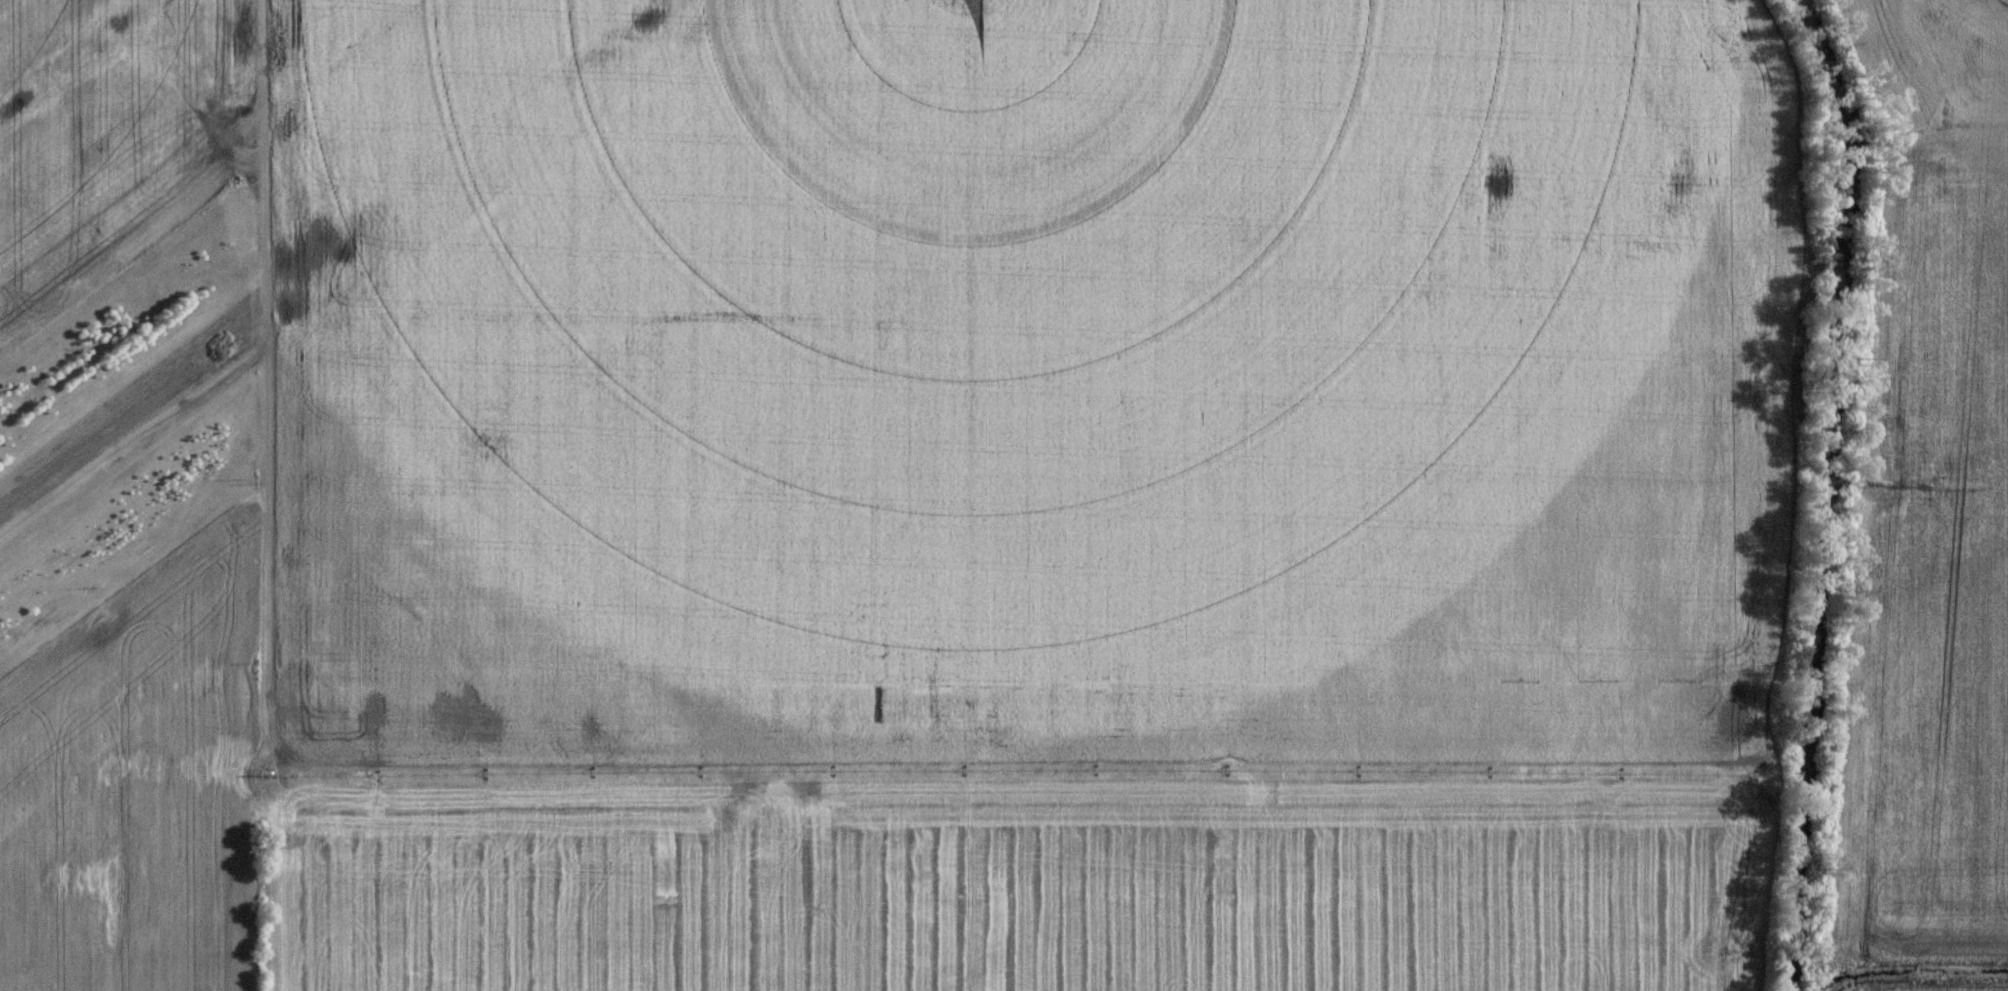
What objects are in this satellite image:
airport: (122, 317)

